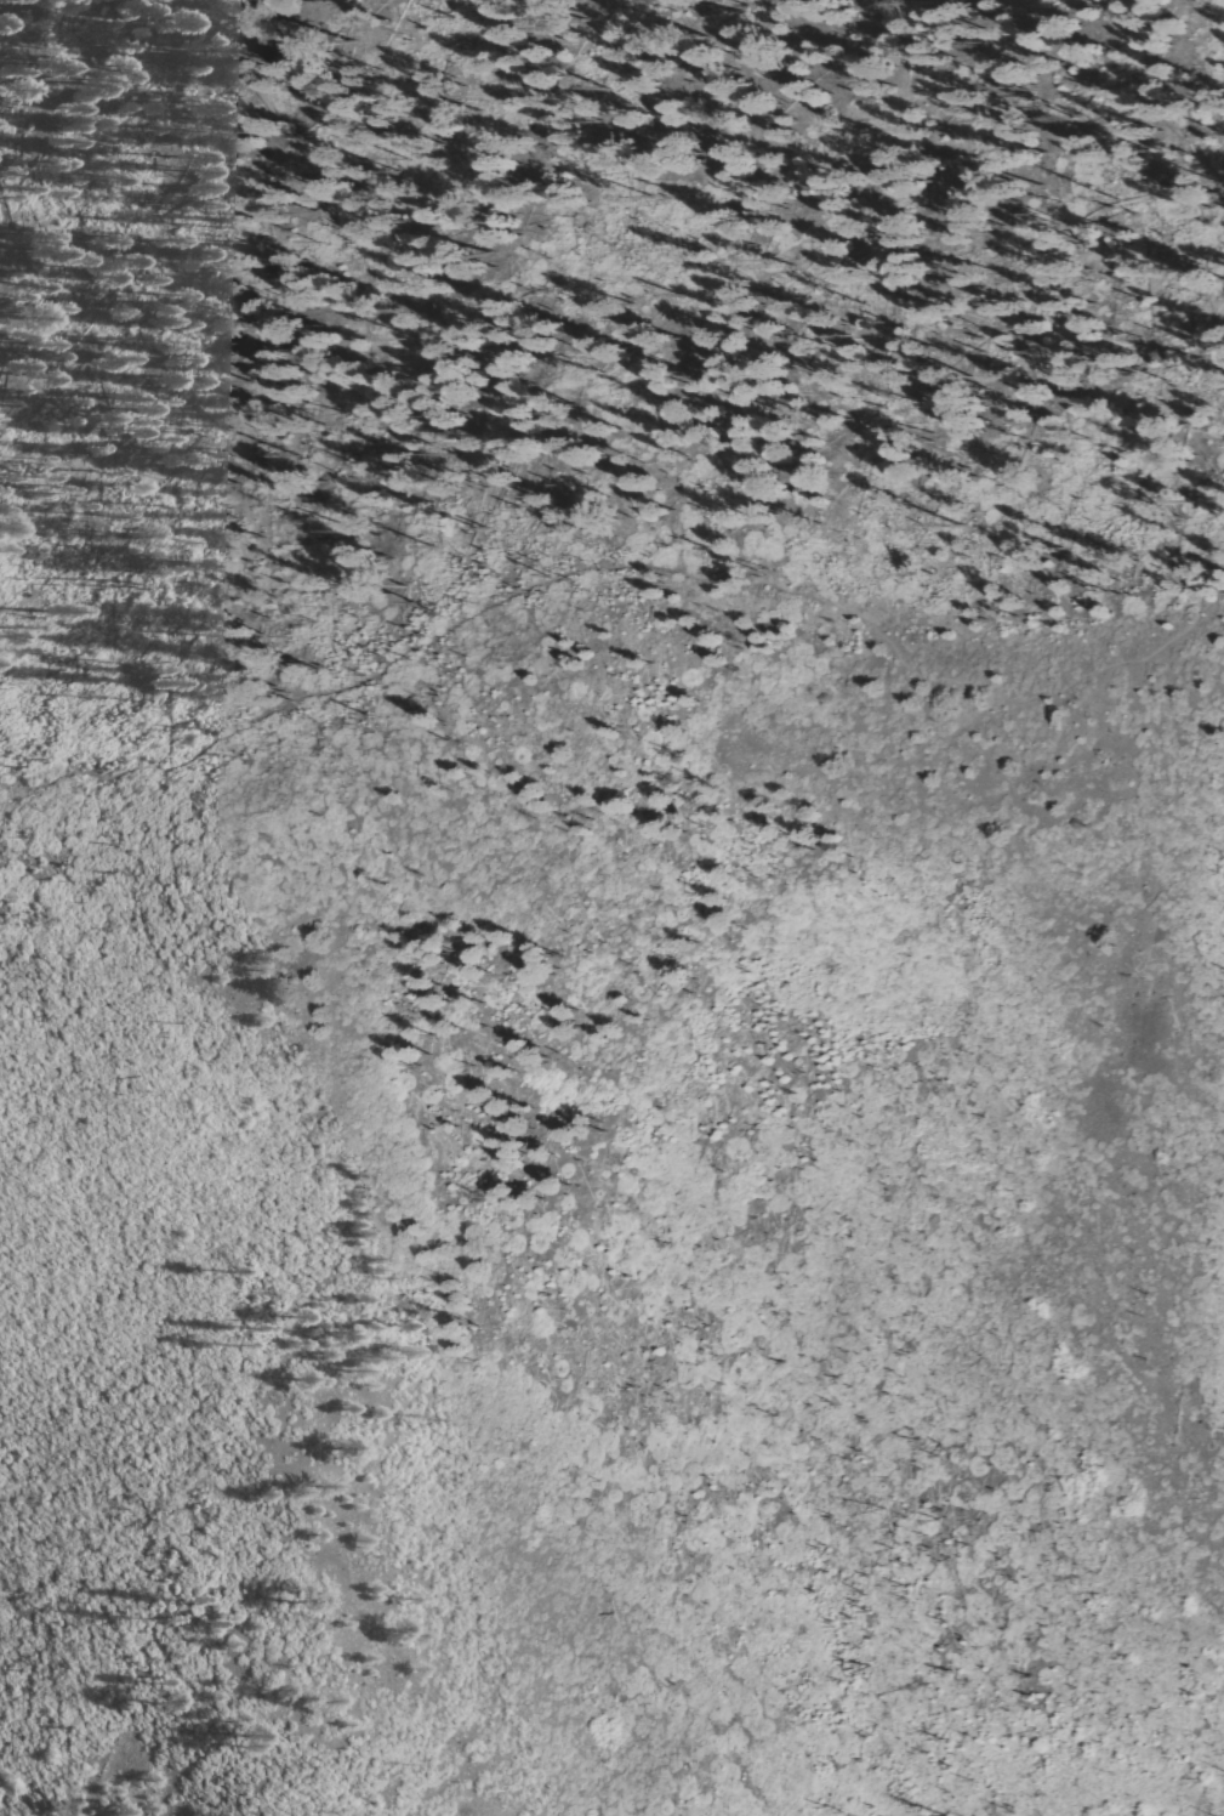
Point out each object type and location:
road: (626, 560)

